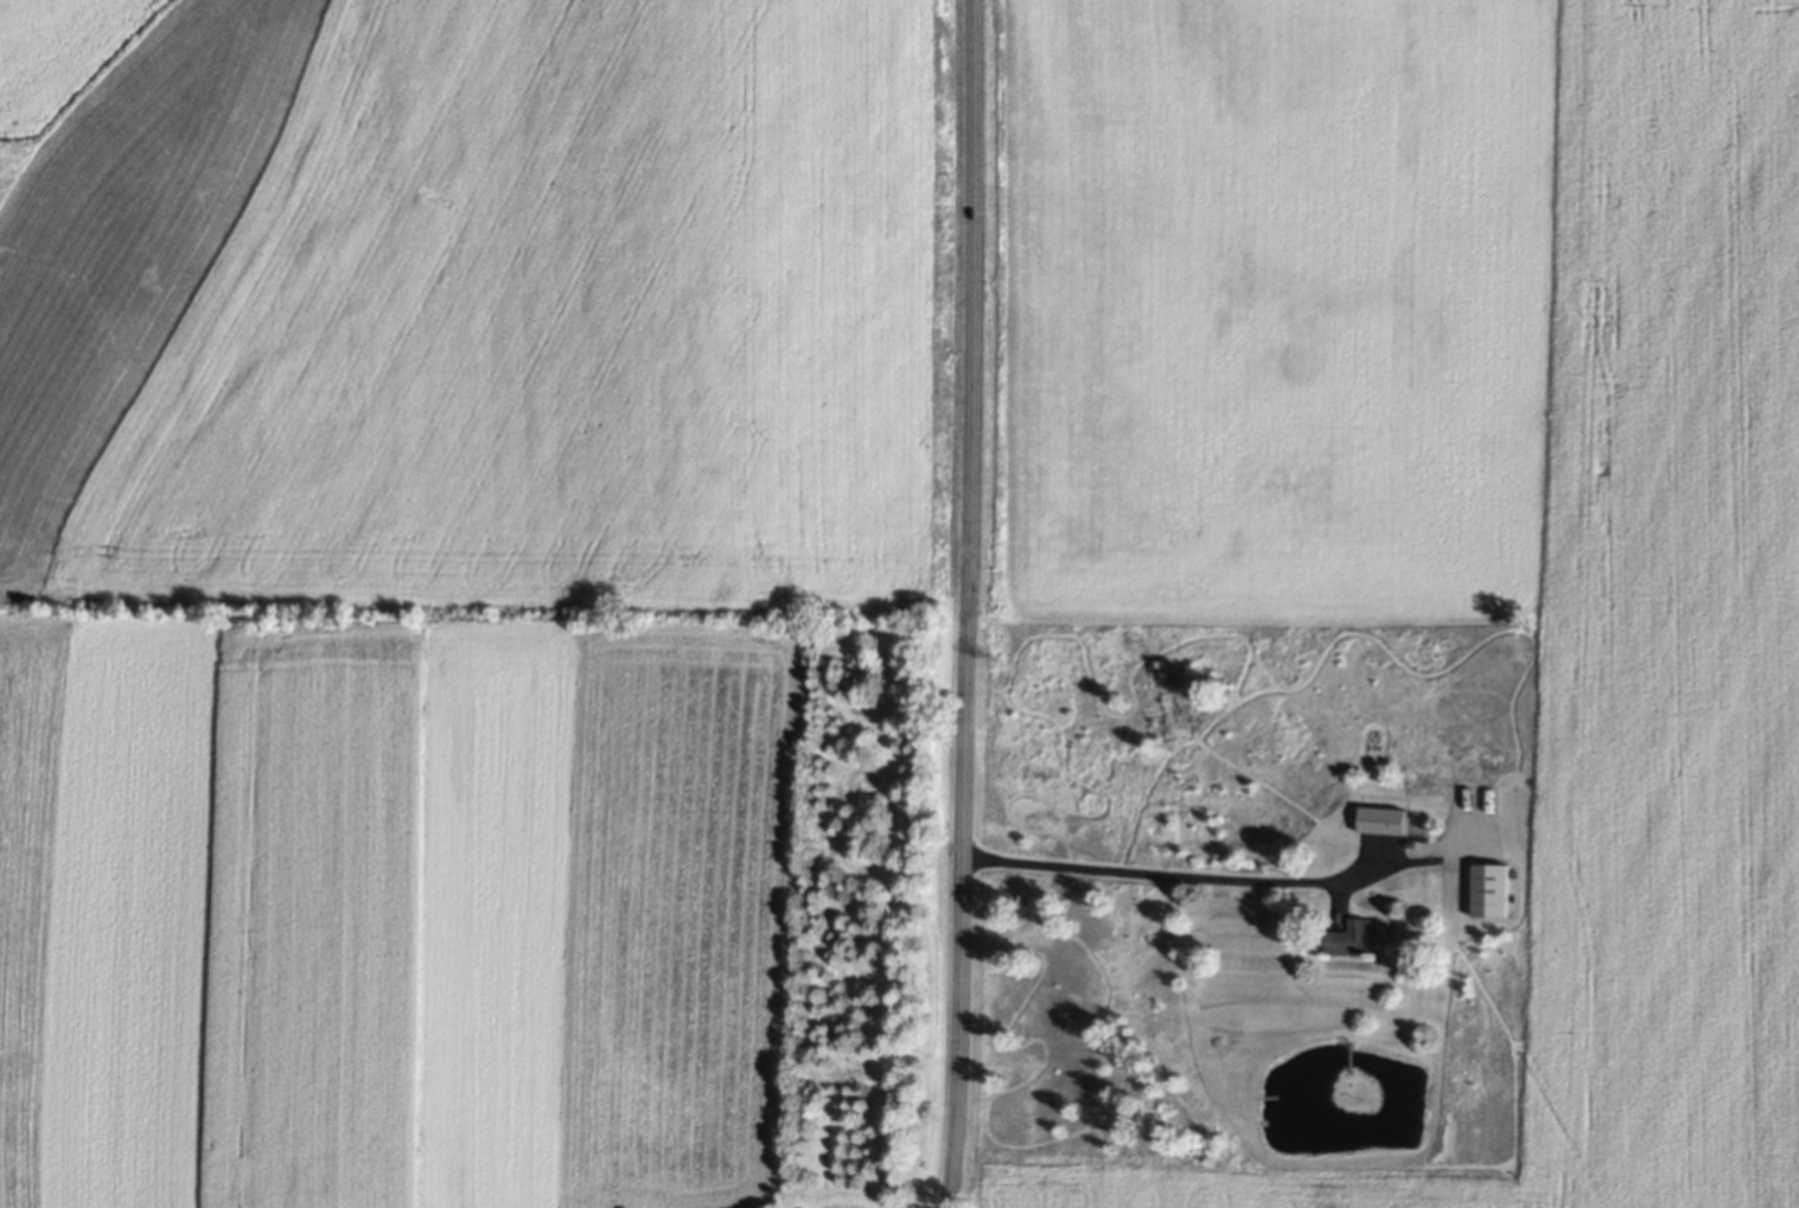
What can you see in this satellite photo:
road: (967, 603)
building: (1386, 823)
building: (1493, 893)
building: (1353, 941)

